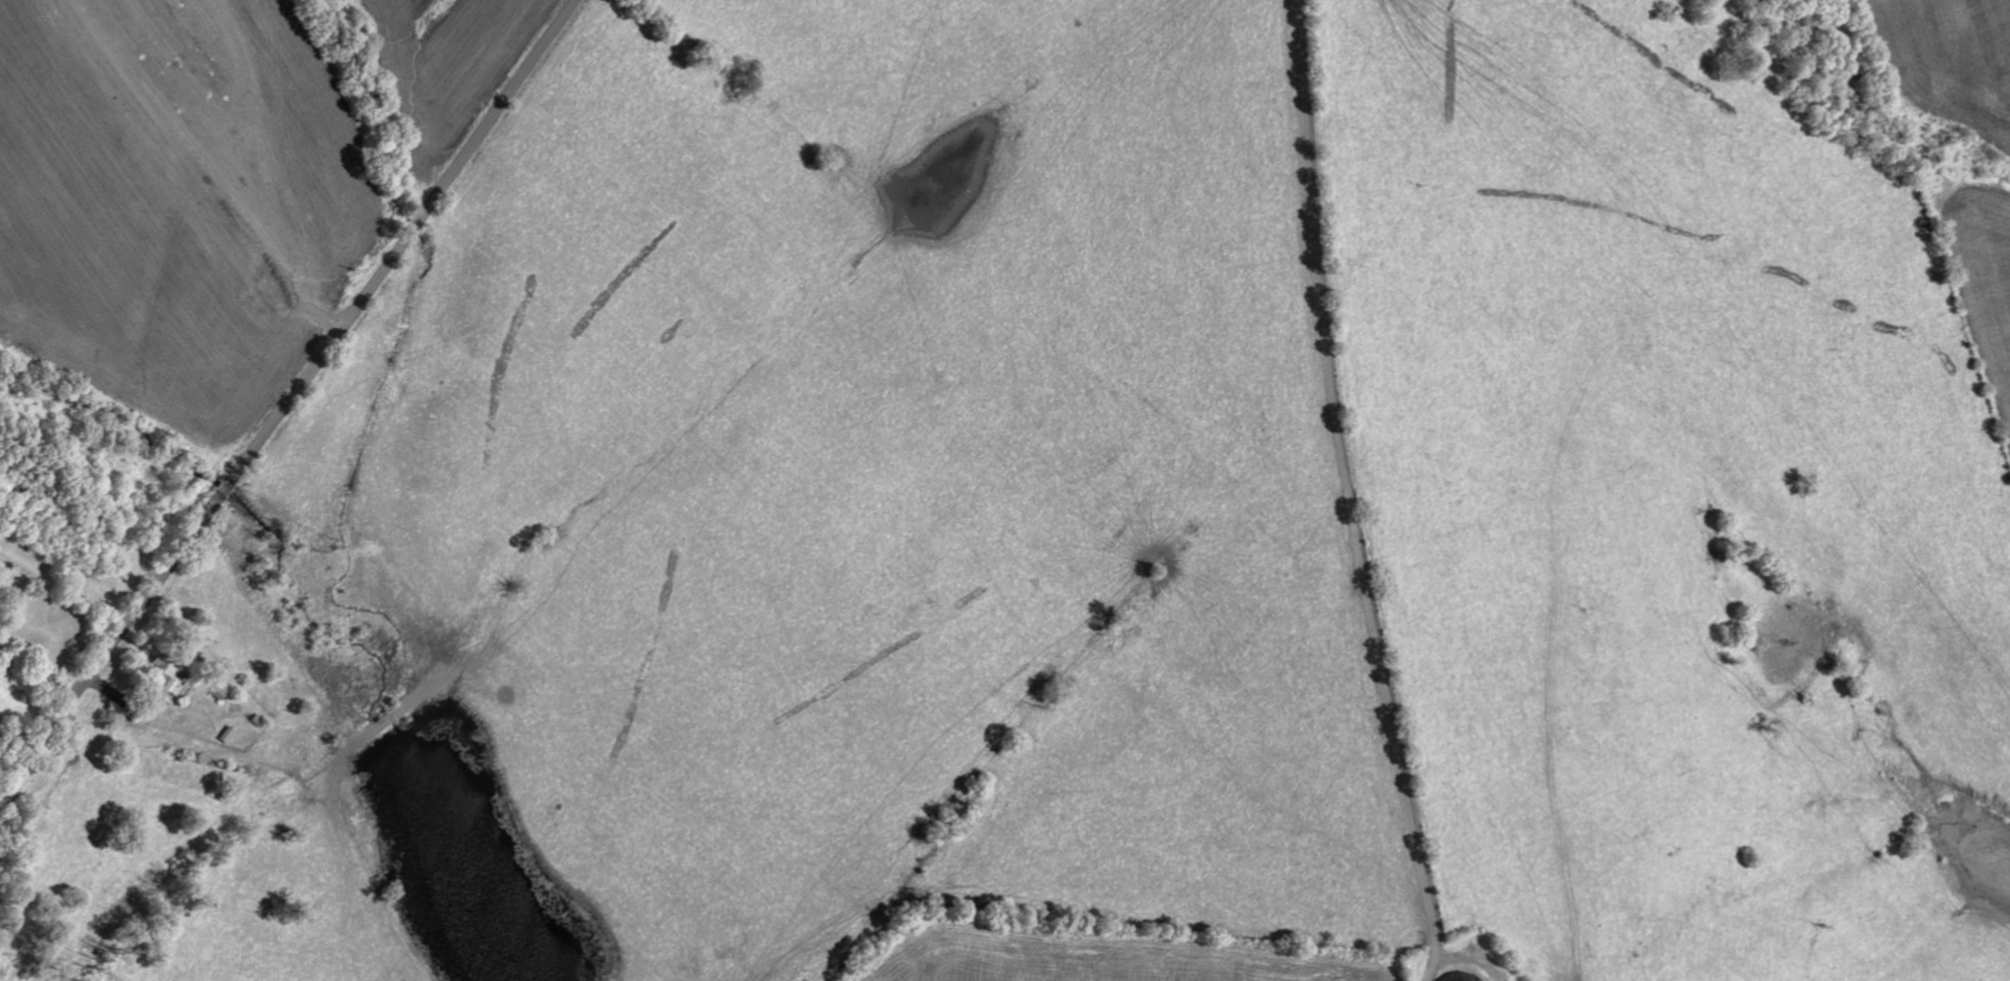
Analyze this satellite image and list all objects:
road: (289, 402)
road: (1345, 494)
building: (161, 676)
road: (38, 677)
building: (180, 690)

